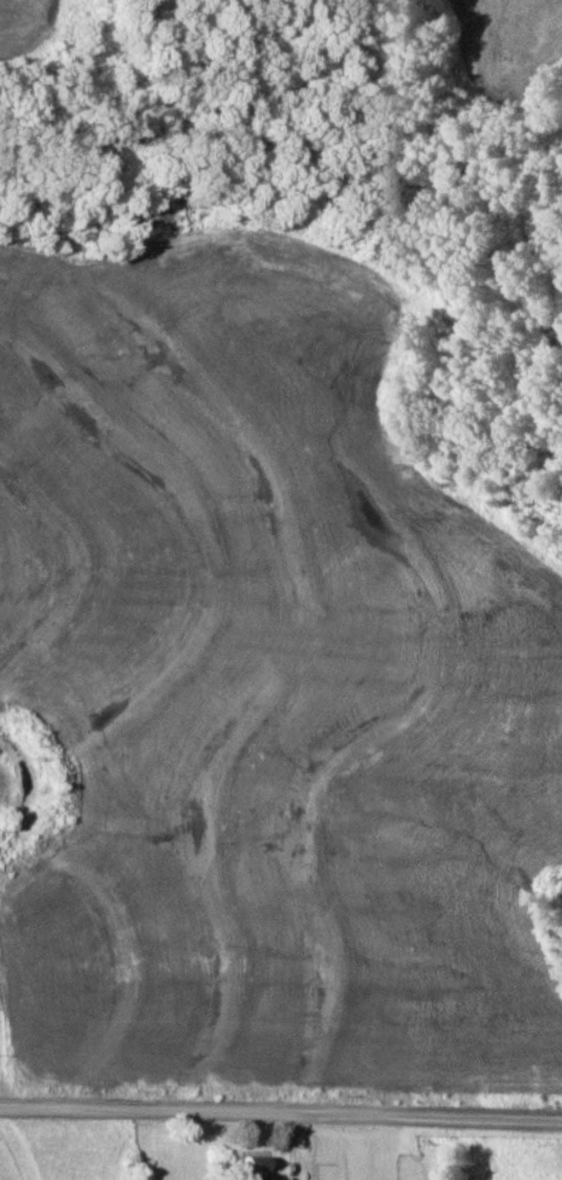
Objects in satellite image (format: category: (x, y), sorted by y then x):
road: (8, 1036)
road: (281, 1114)
building: (256, 1166)

